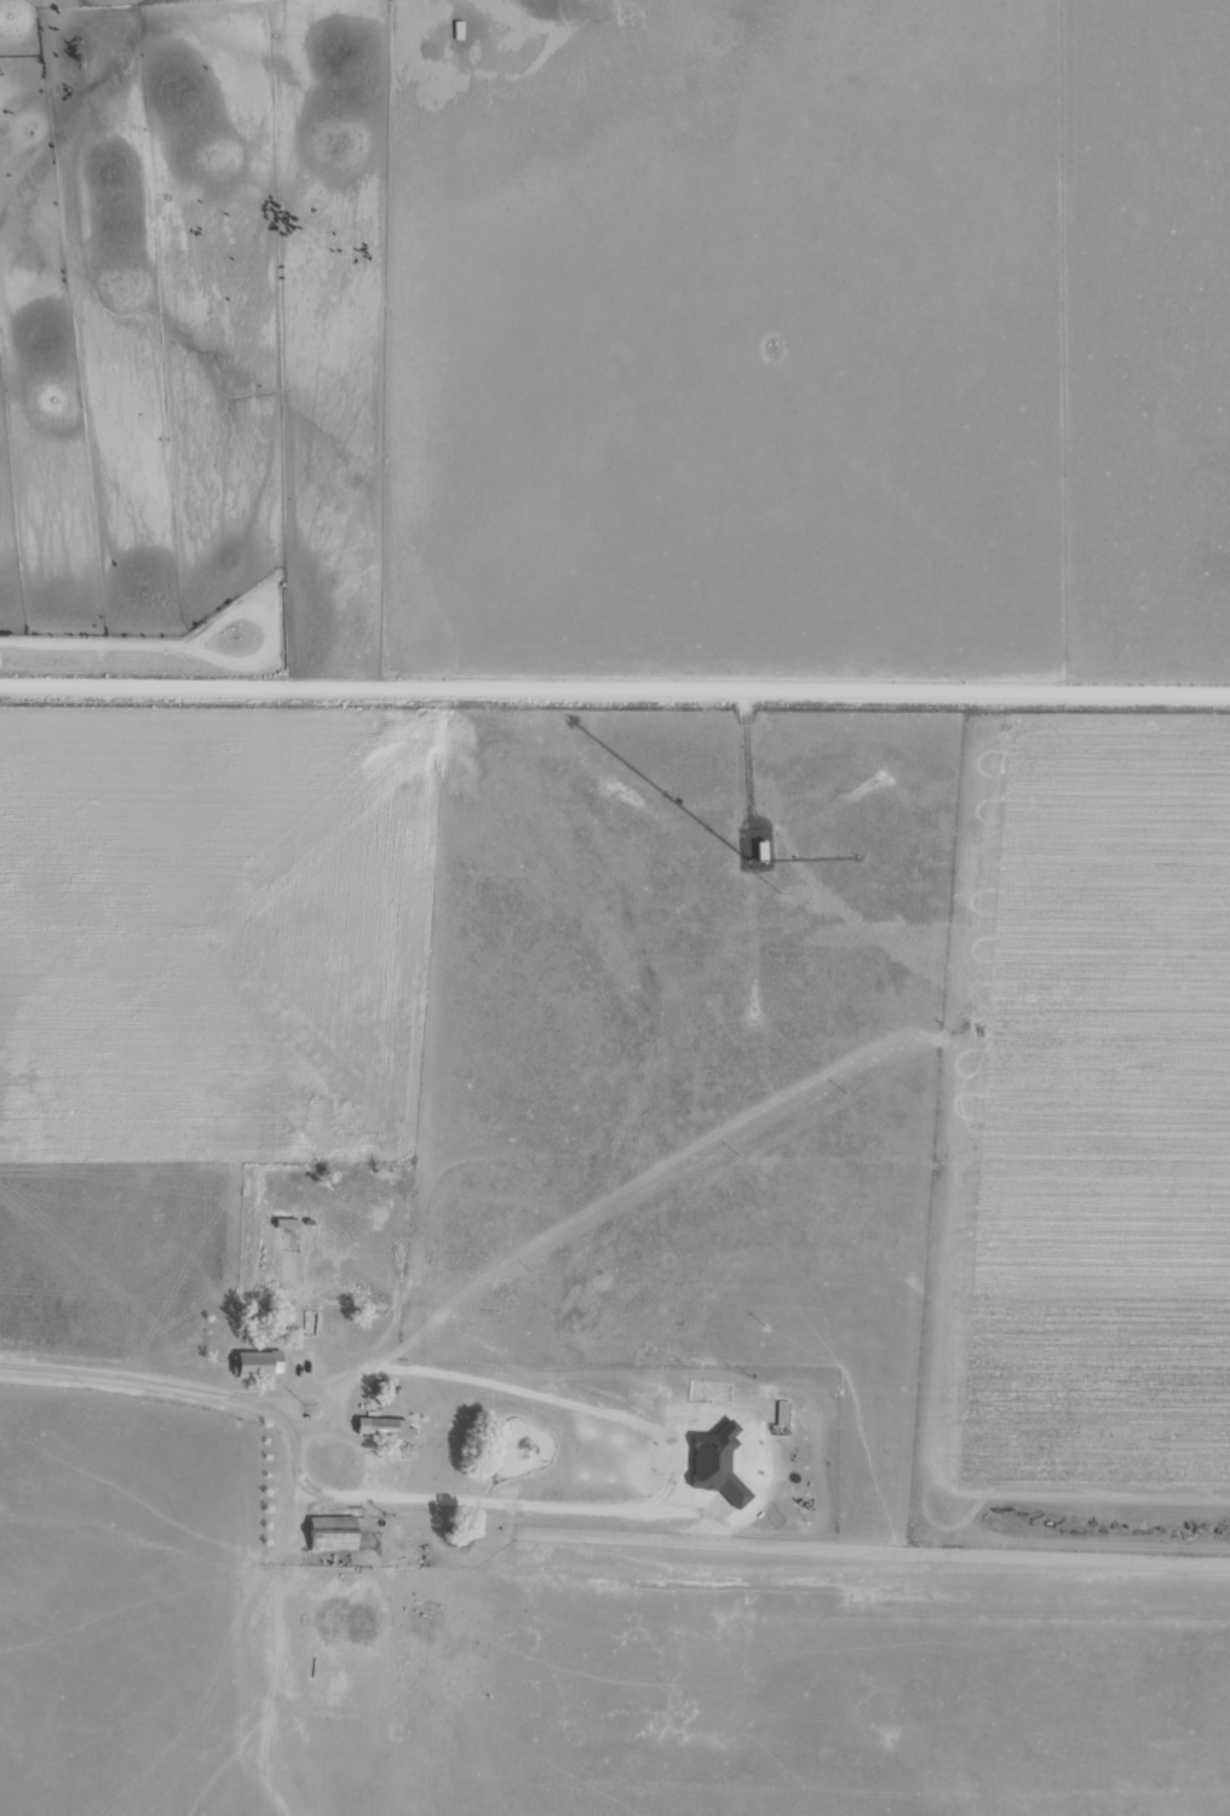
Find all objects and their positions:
road: (615, 688)
building: (257, 1364)
road: (159, 1427)
building: (383, 1429)
building: (332, 1534)

